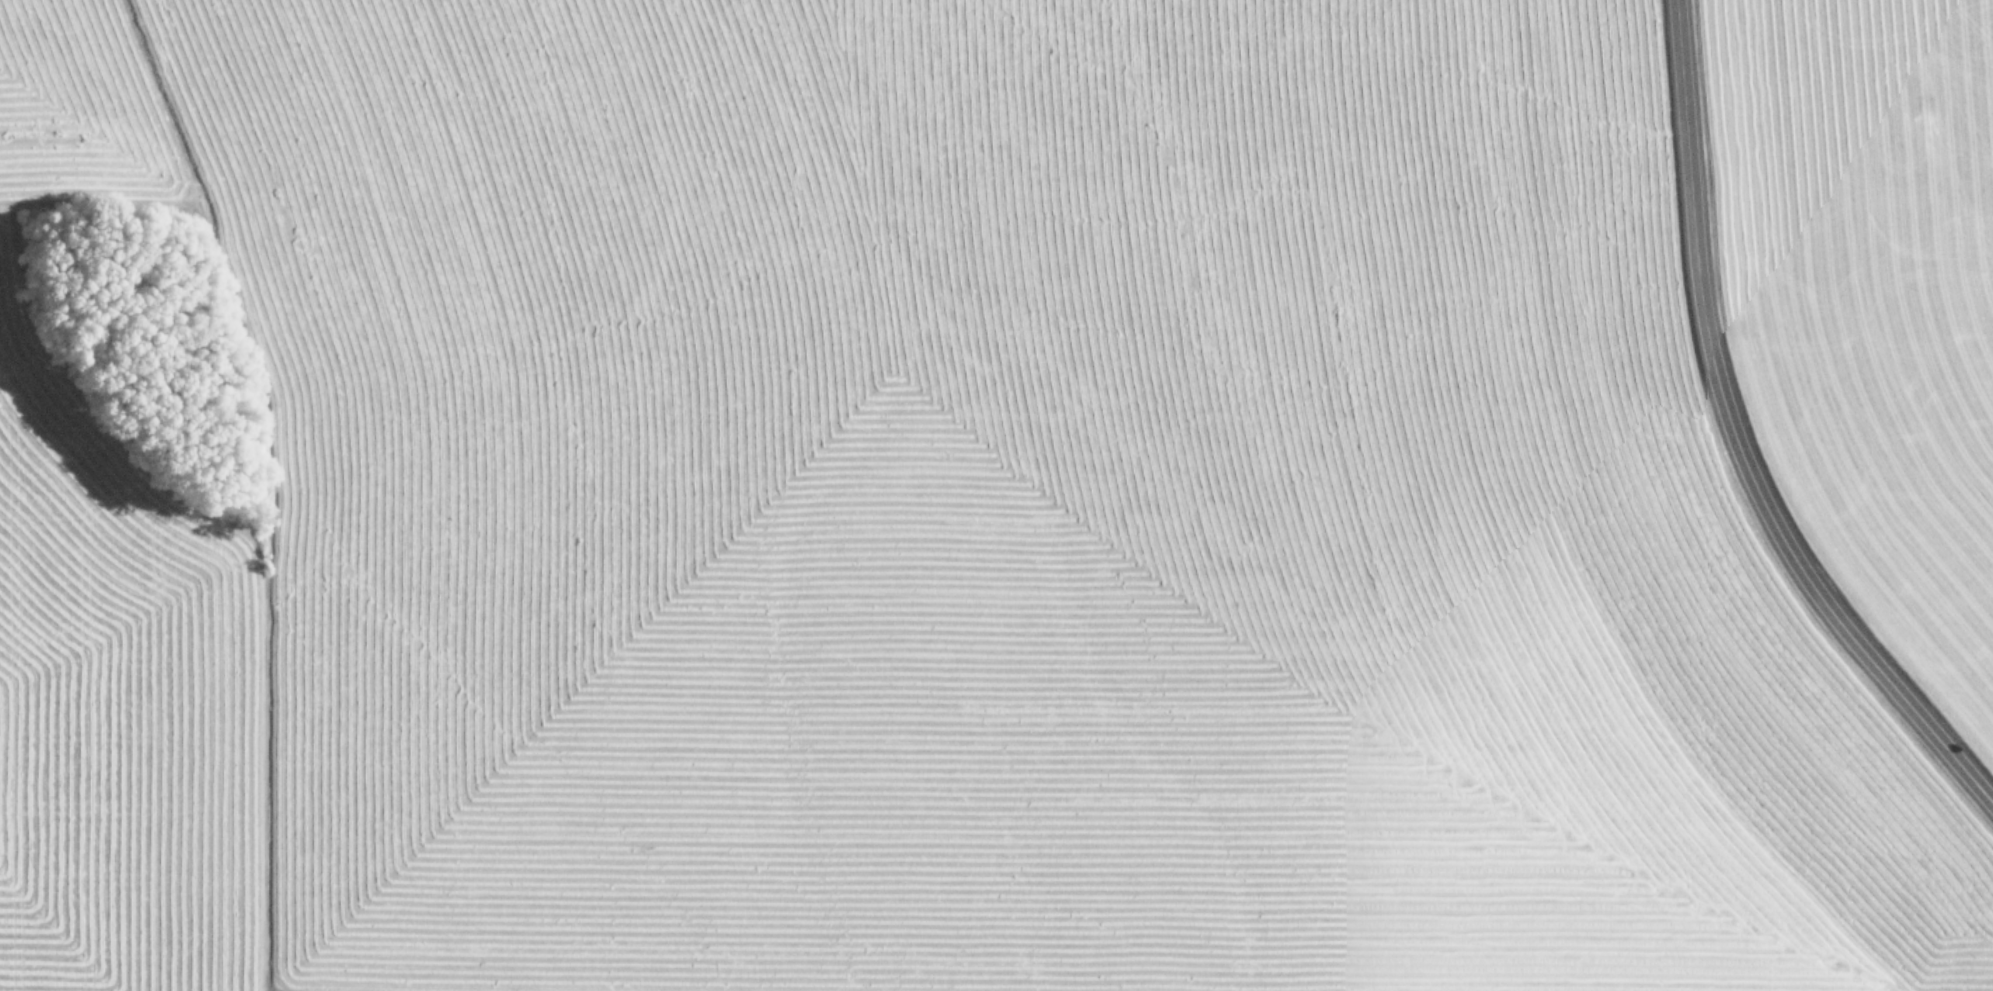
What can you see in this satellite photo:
crop: (1870, 292)
road: (1732, 444)
crop: (900, 514)

